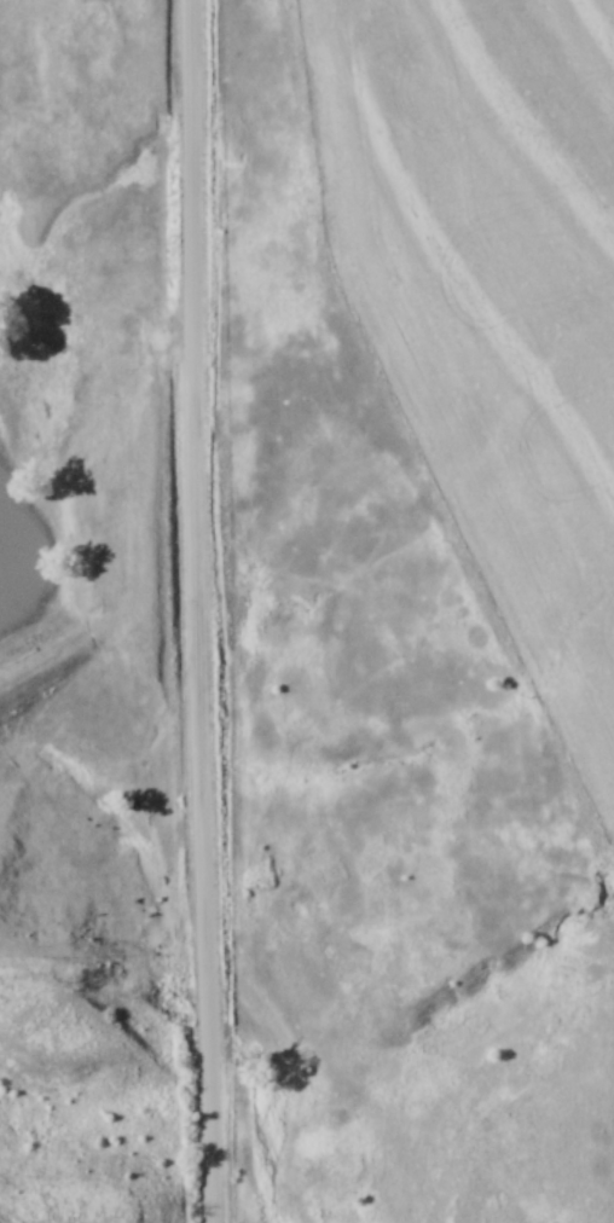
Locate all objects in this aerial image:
road: (201, 611)

